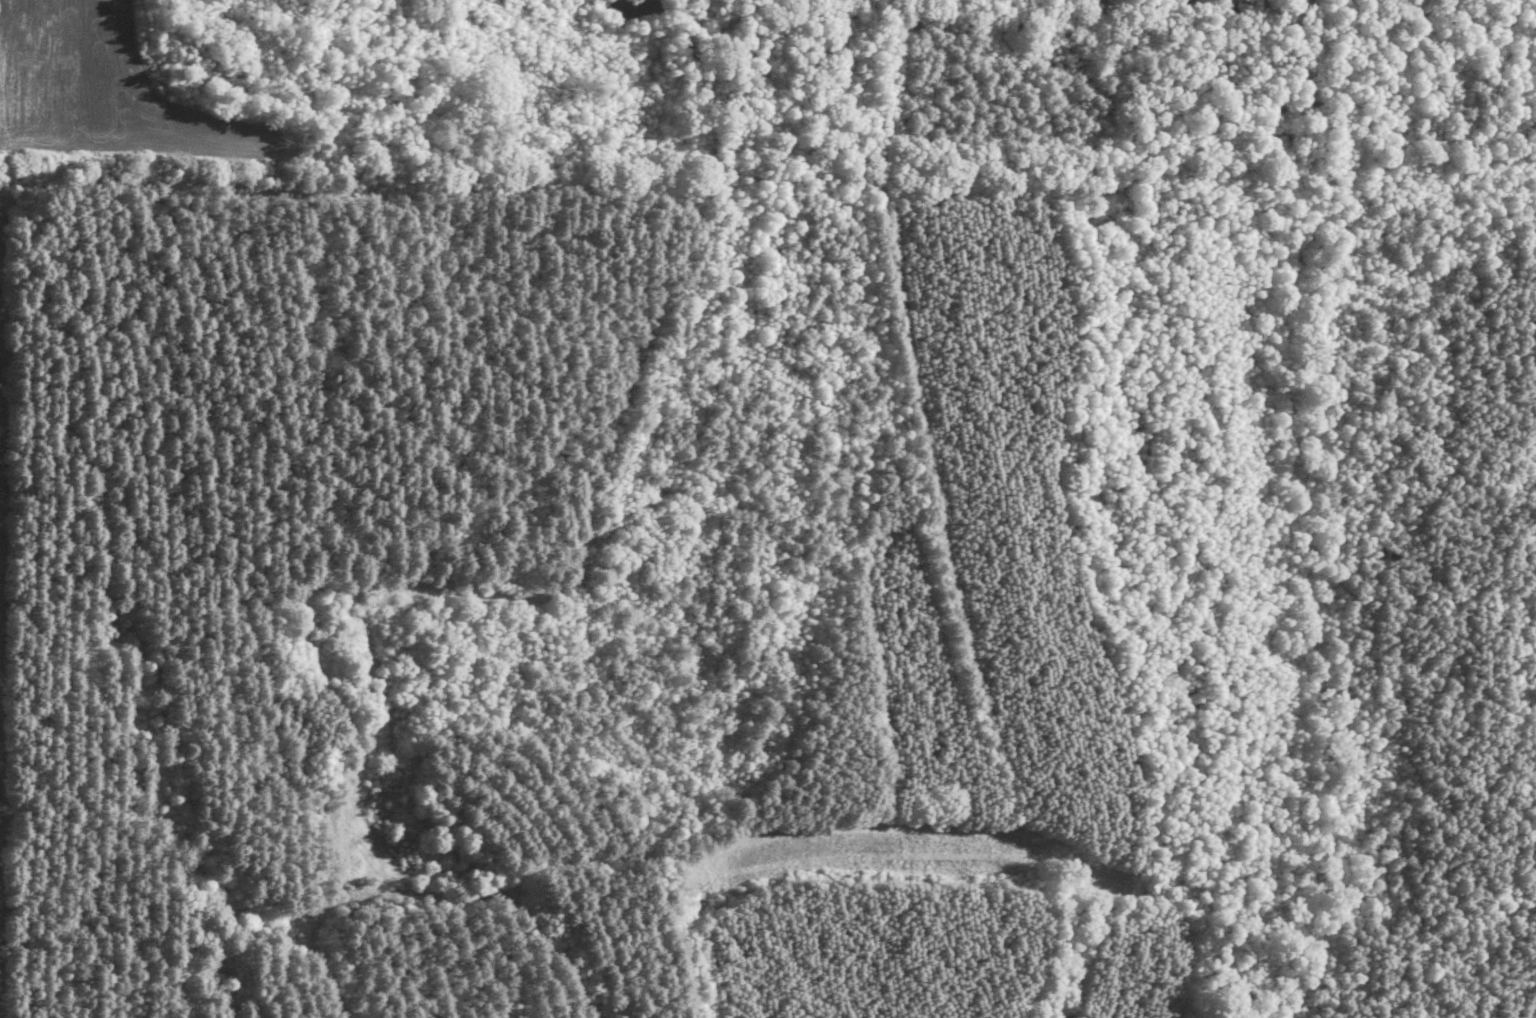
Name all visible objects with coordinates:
road: (359, 427)

